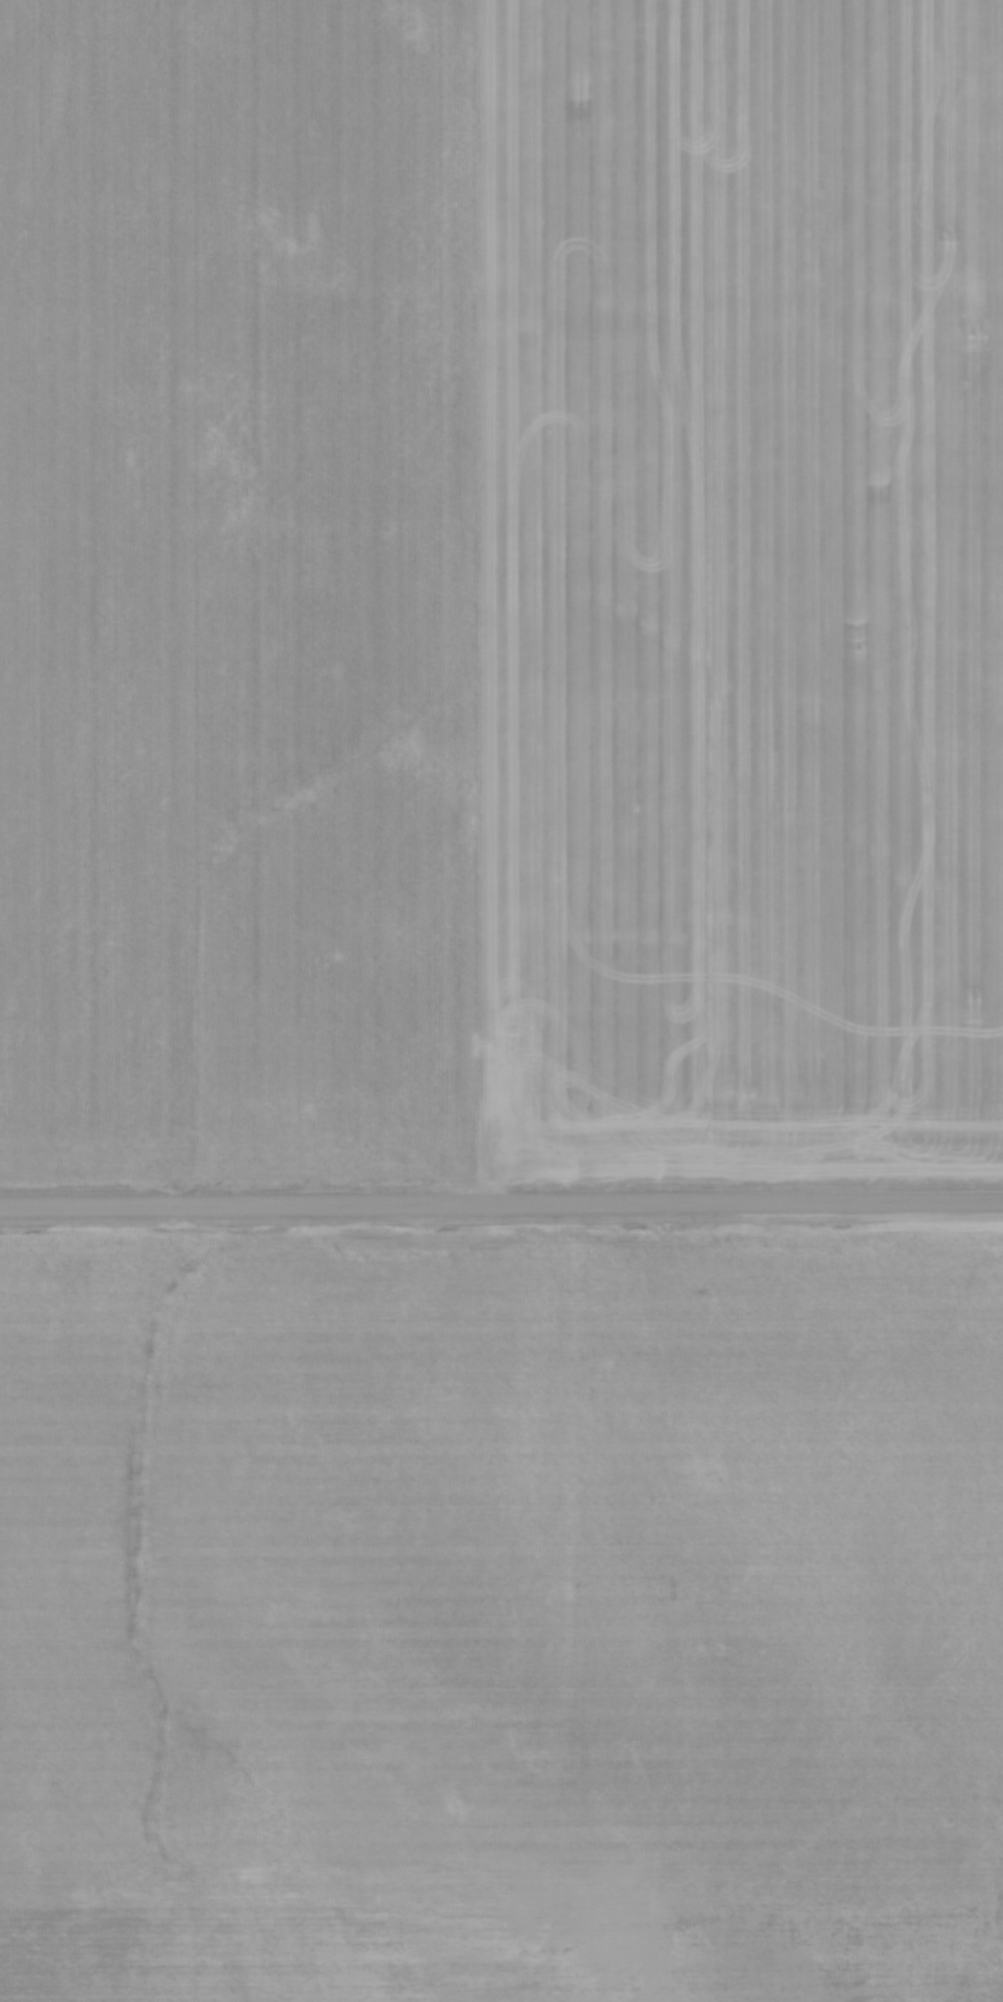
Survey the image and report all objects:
road: (501, 1203)

